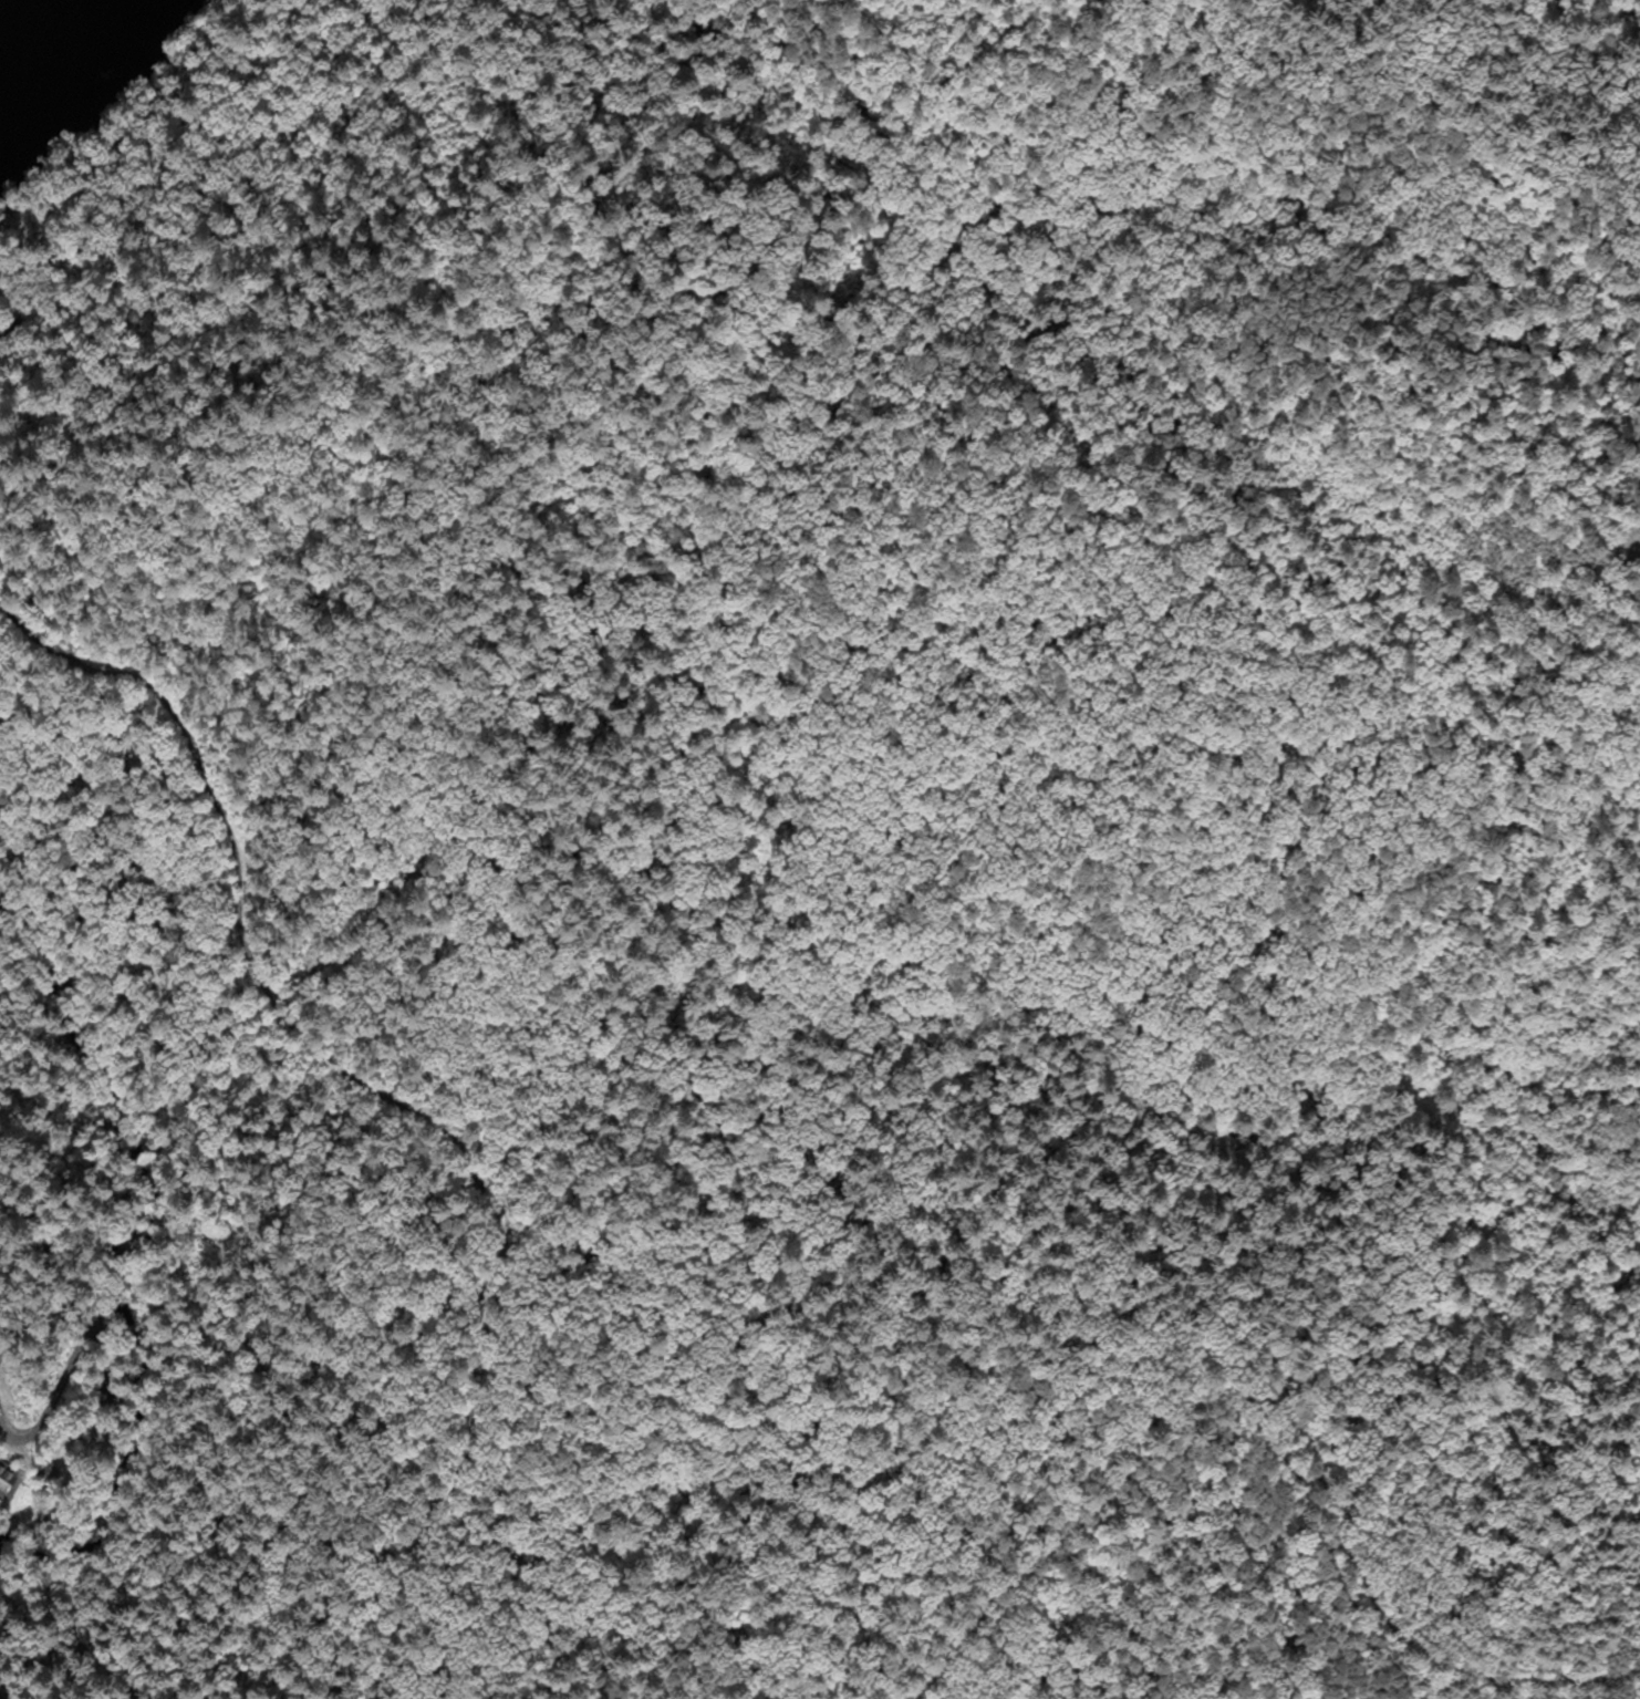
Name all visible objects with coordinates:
road: (50, 1402)
building: (8, 1481)
road: (428, 1692)

